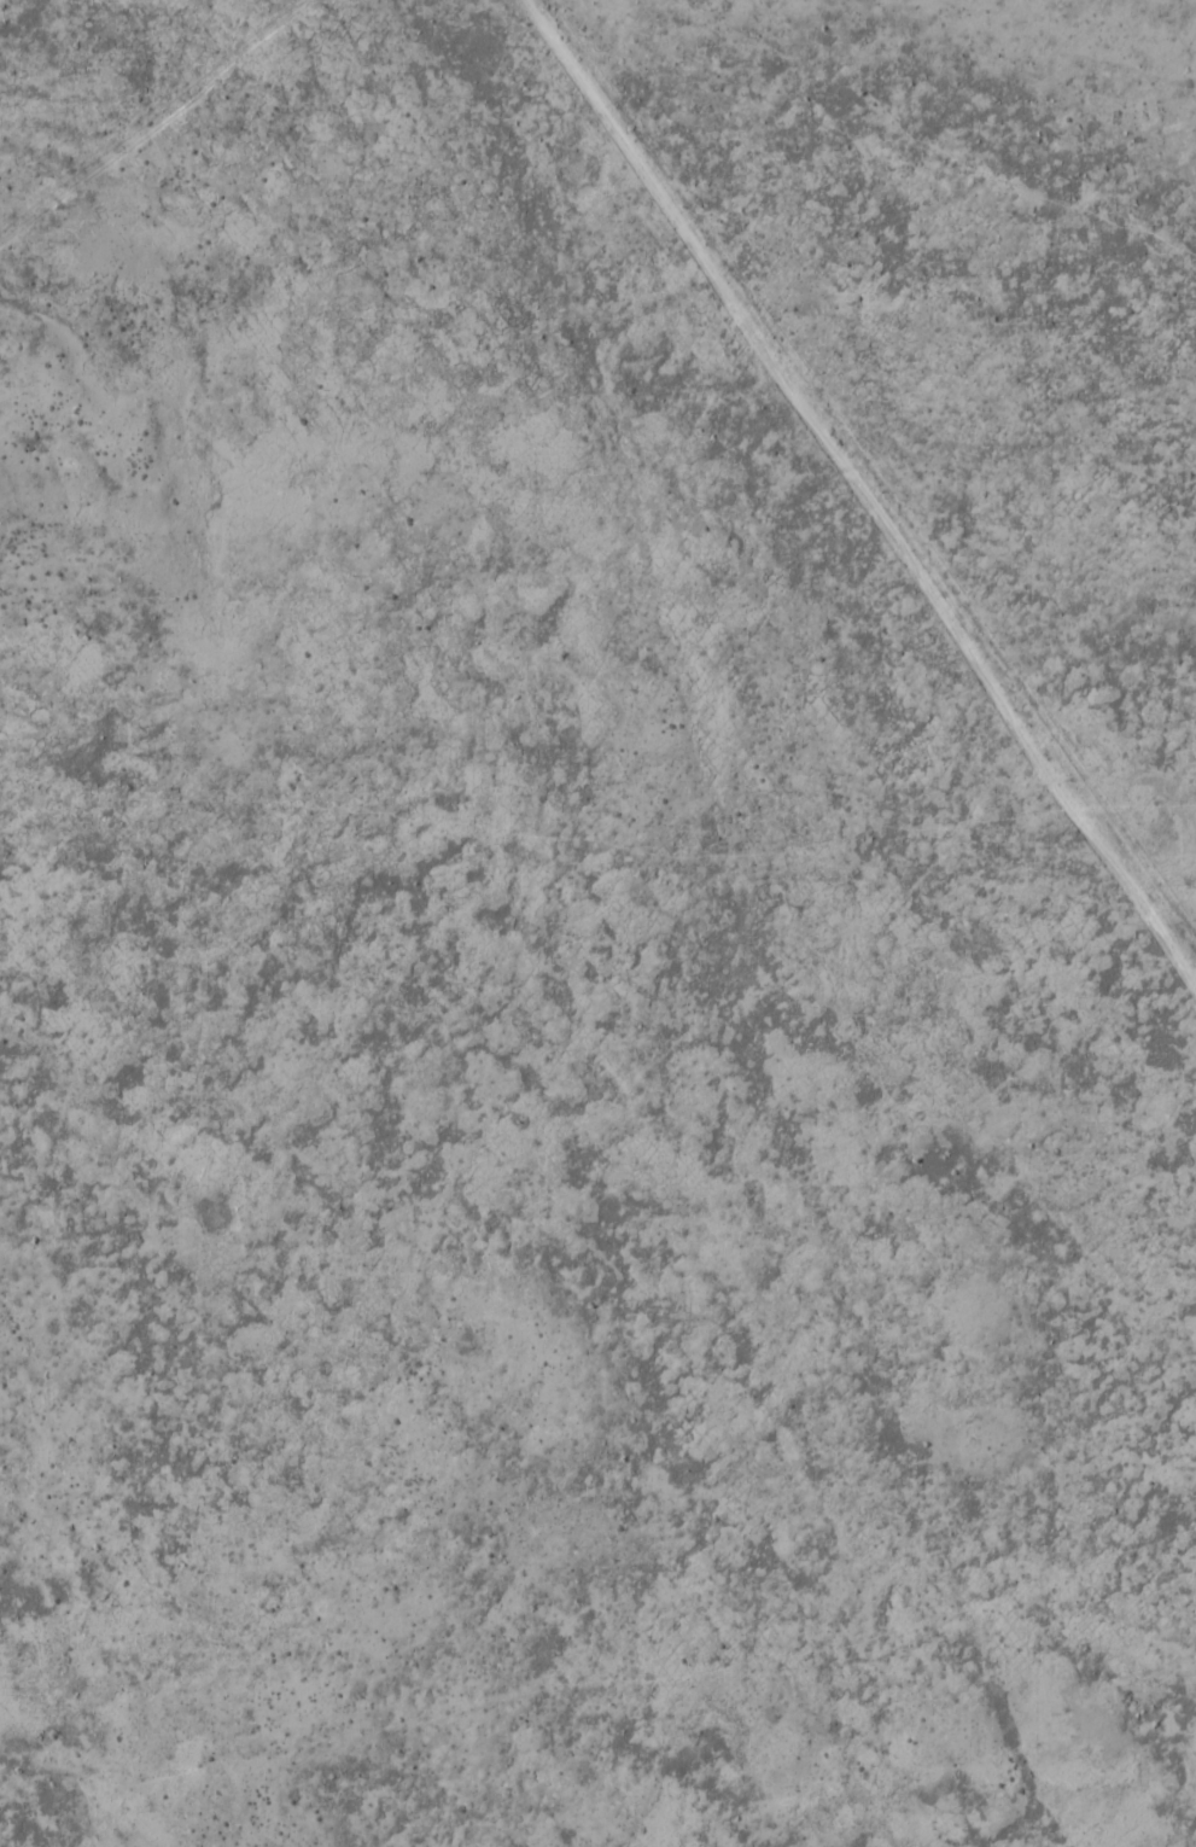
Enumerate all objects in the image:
road: (154, 118)
road: (865, 486)

